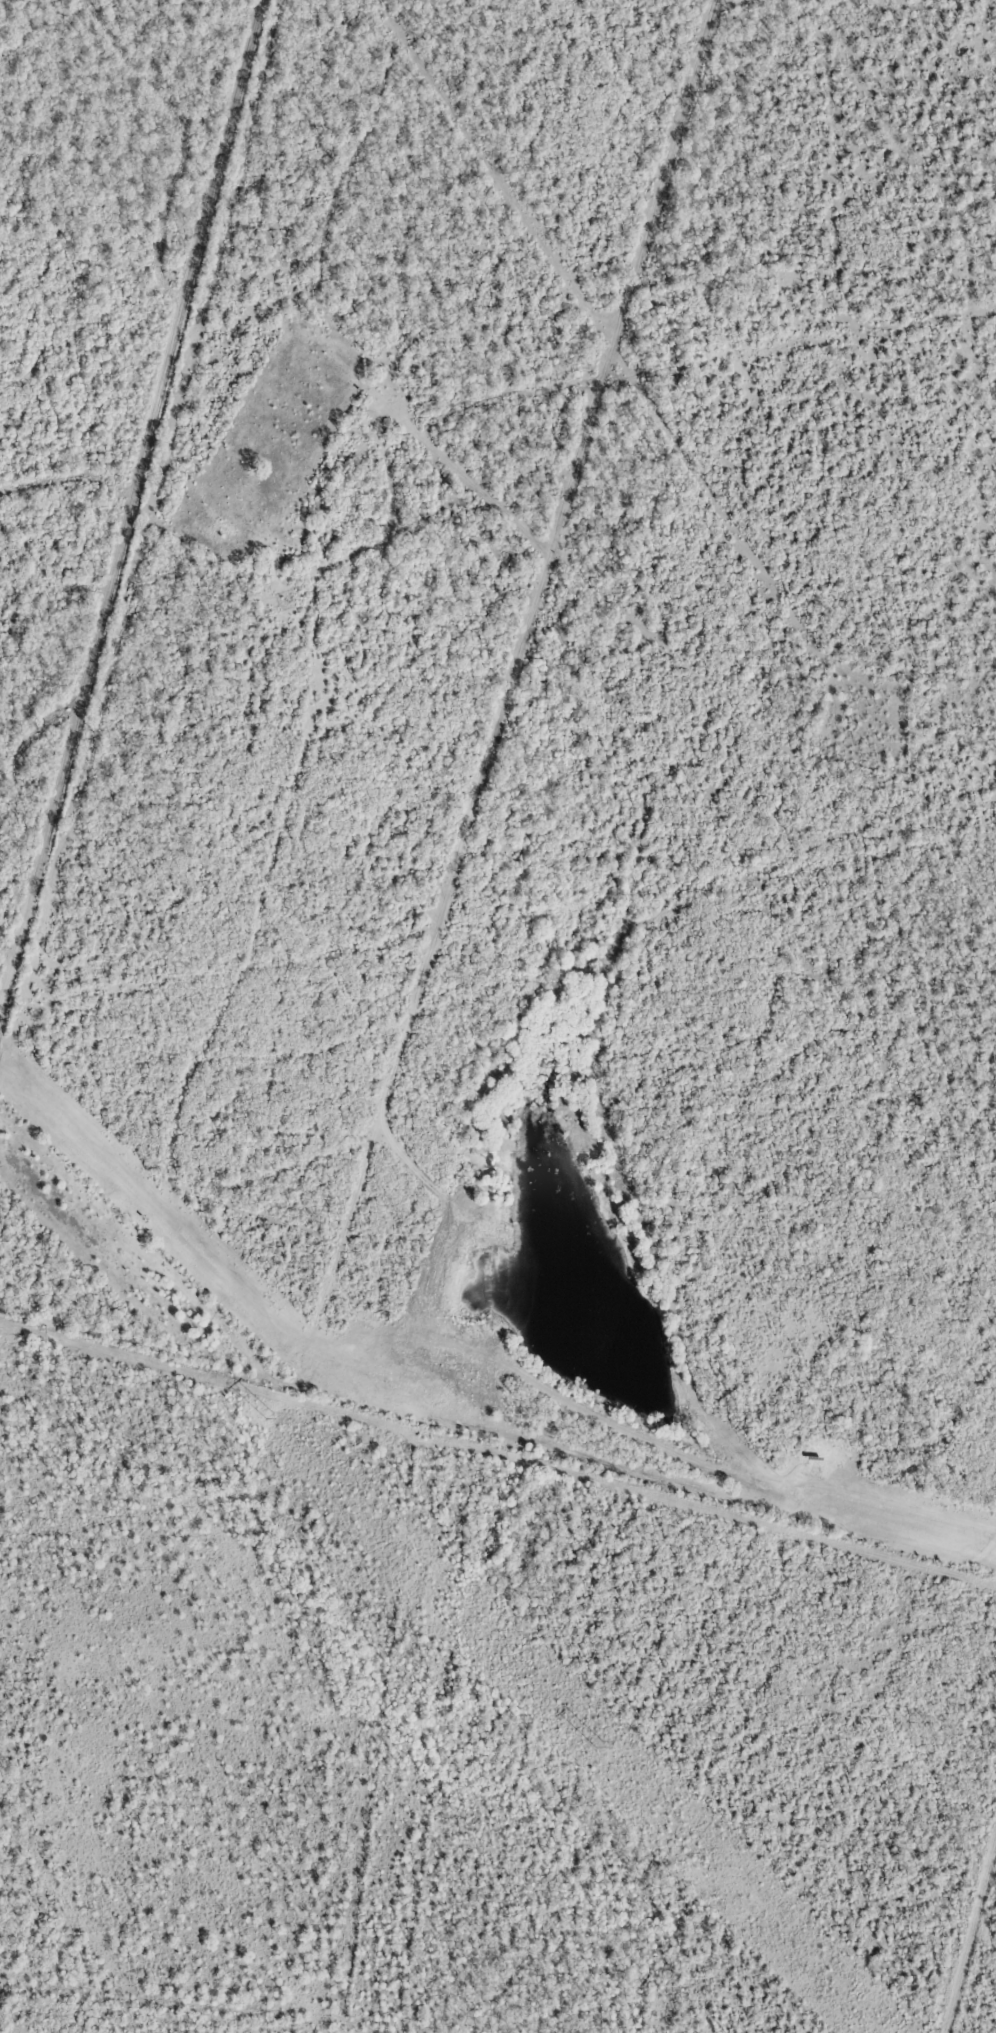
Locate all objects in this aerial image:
road: (926, 160)
power tower: (268, 1414)
power tower: (597, 1743)

